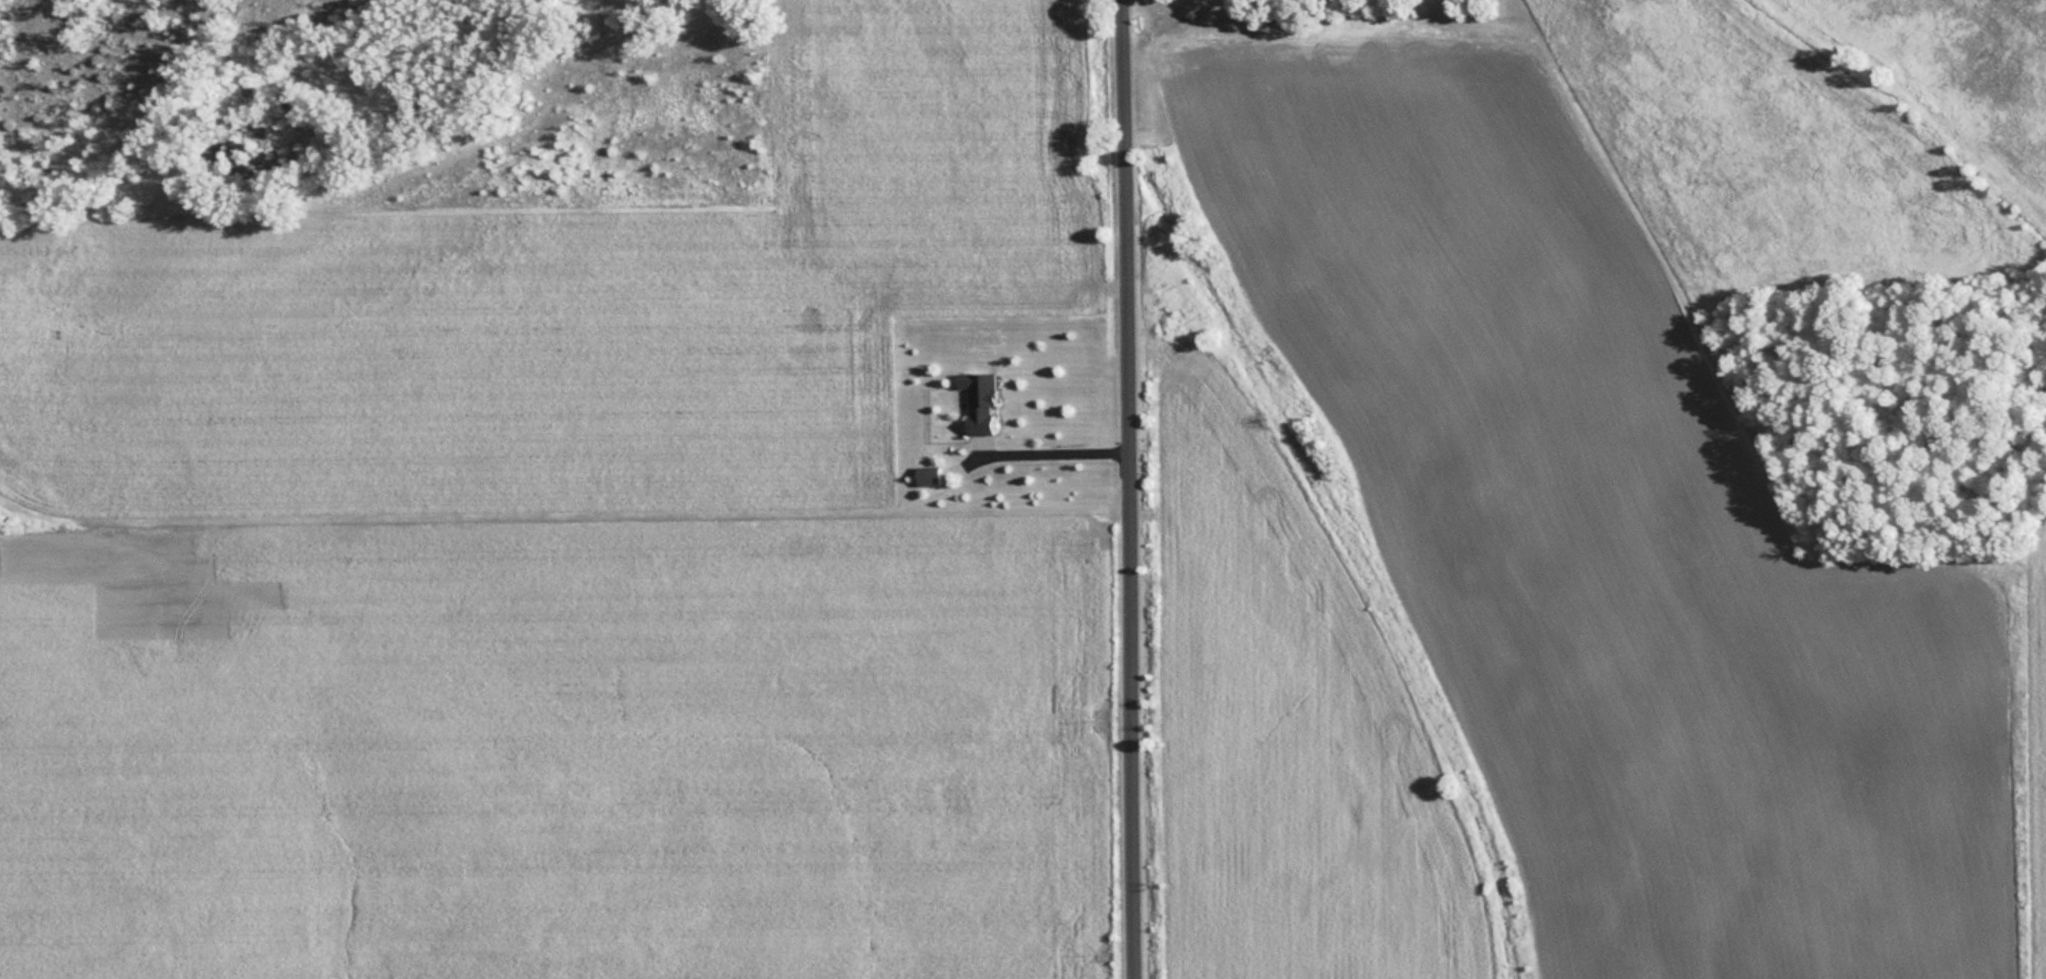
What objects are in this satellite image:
building: (977, 400)
road: (1047, 452)
road: (1130, 489)
road: (958, 925)

